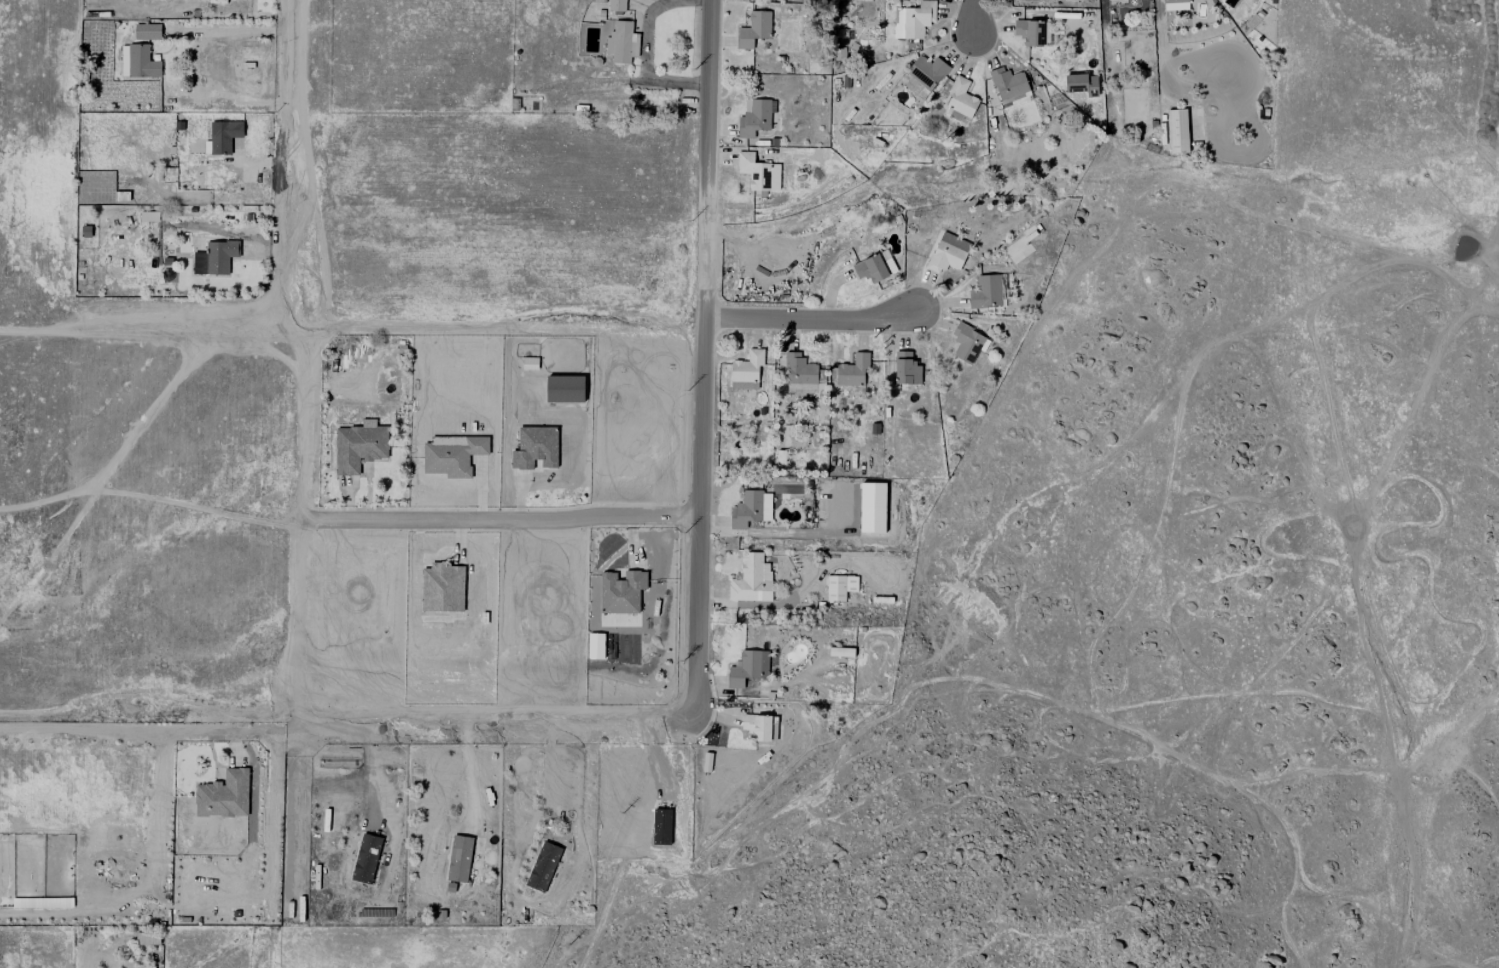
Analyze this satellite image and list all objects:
building: (615, 5)
building: (1174, 5)
road: (975, 18)
building: (913, 20)
building: (753, 29)
building: (146, 31)
road: (232, 31)
building: (1028, 32)
building: (621, 42)
road: (645, 56)
building: (137, 61)
building: (924, 75)
building: (1007, 83)
building: (1081, 84)
building: (960, 99)
building: (754, 117)
building: (1177, 131)
building: (223, 136)
road: (710, 158)
building: (758, 172)
building: (947, 253)
building: (219, 256)
road: (1488, 261)
building: (874, 267)
building: (985, 292)
road: (813, 318)
road: (354, 329)
building: (967, 343)
road: (304, 361)
building: (529, 363)
building: (746, 369)
building: (905, 369)
building: (852, 370)
building: (801, 375)
building: (564, 389)
building: (358, 446)
building: (534, 447)
building: (750, 509)
road: (500, 516)
road: (702, 528)
building: (751, 579)
building: (839, 586)
building: (620, 592)
building: (840, 651)
building: (747, 668)
road: (474, 720)
road: (143, 725)
building: (756, 726)
road: (286, 749)
road: (548, 766)
road: (471, 770)
road: (351, 781)
building: (223, 795)
building: (365, 858)
building: (458, 858)
building: (542, 866)
road: (279, 872)
building: (147, 938)

